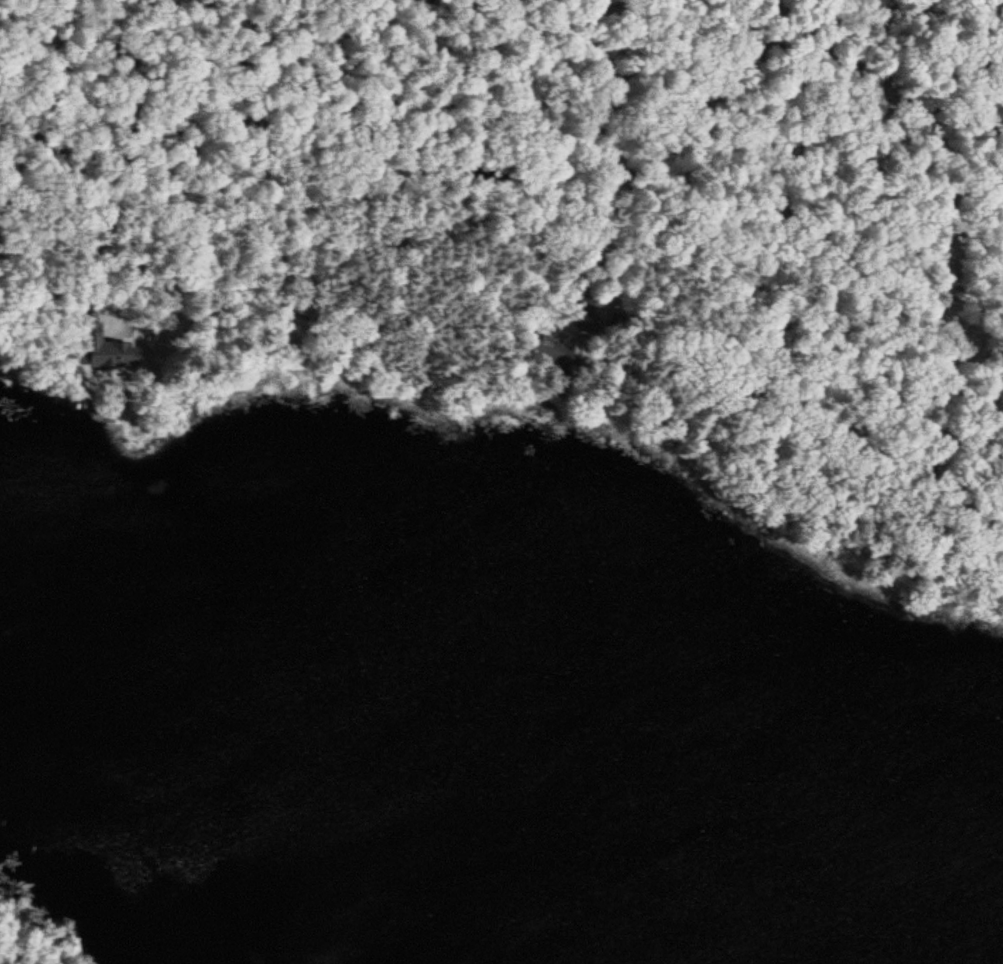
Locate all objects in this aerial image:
road: (457, 221)
road: (941, 389)
building: (1002, 590)

